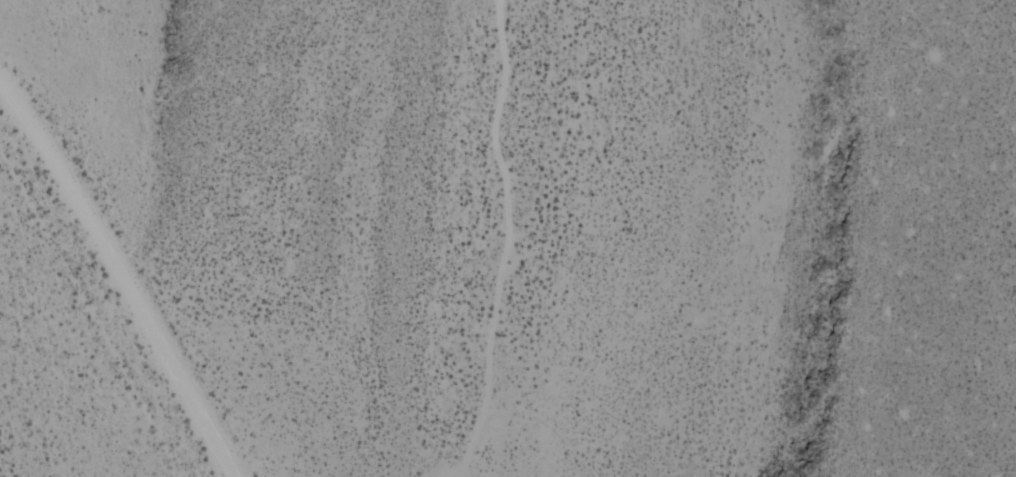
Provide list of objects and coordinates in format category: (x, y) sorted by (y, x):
road: (127, 271)

